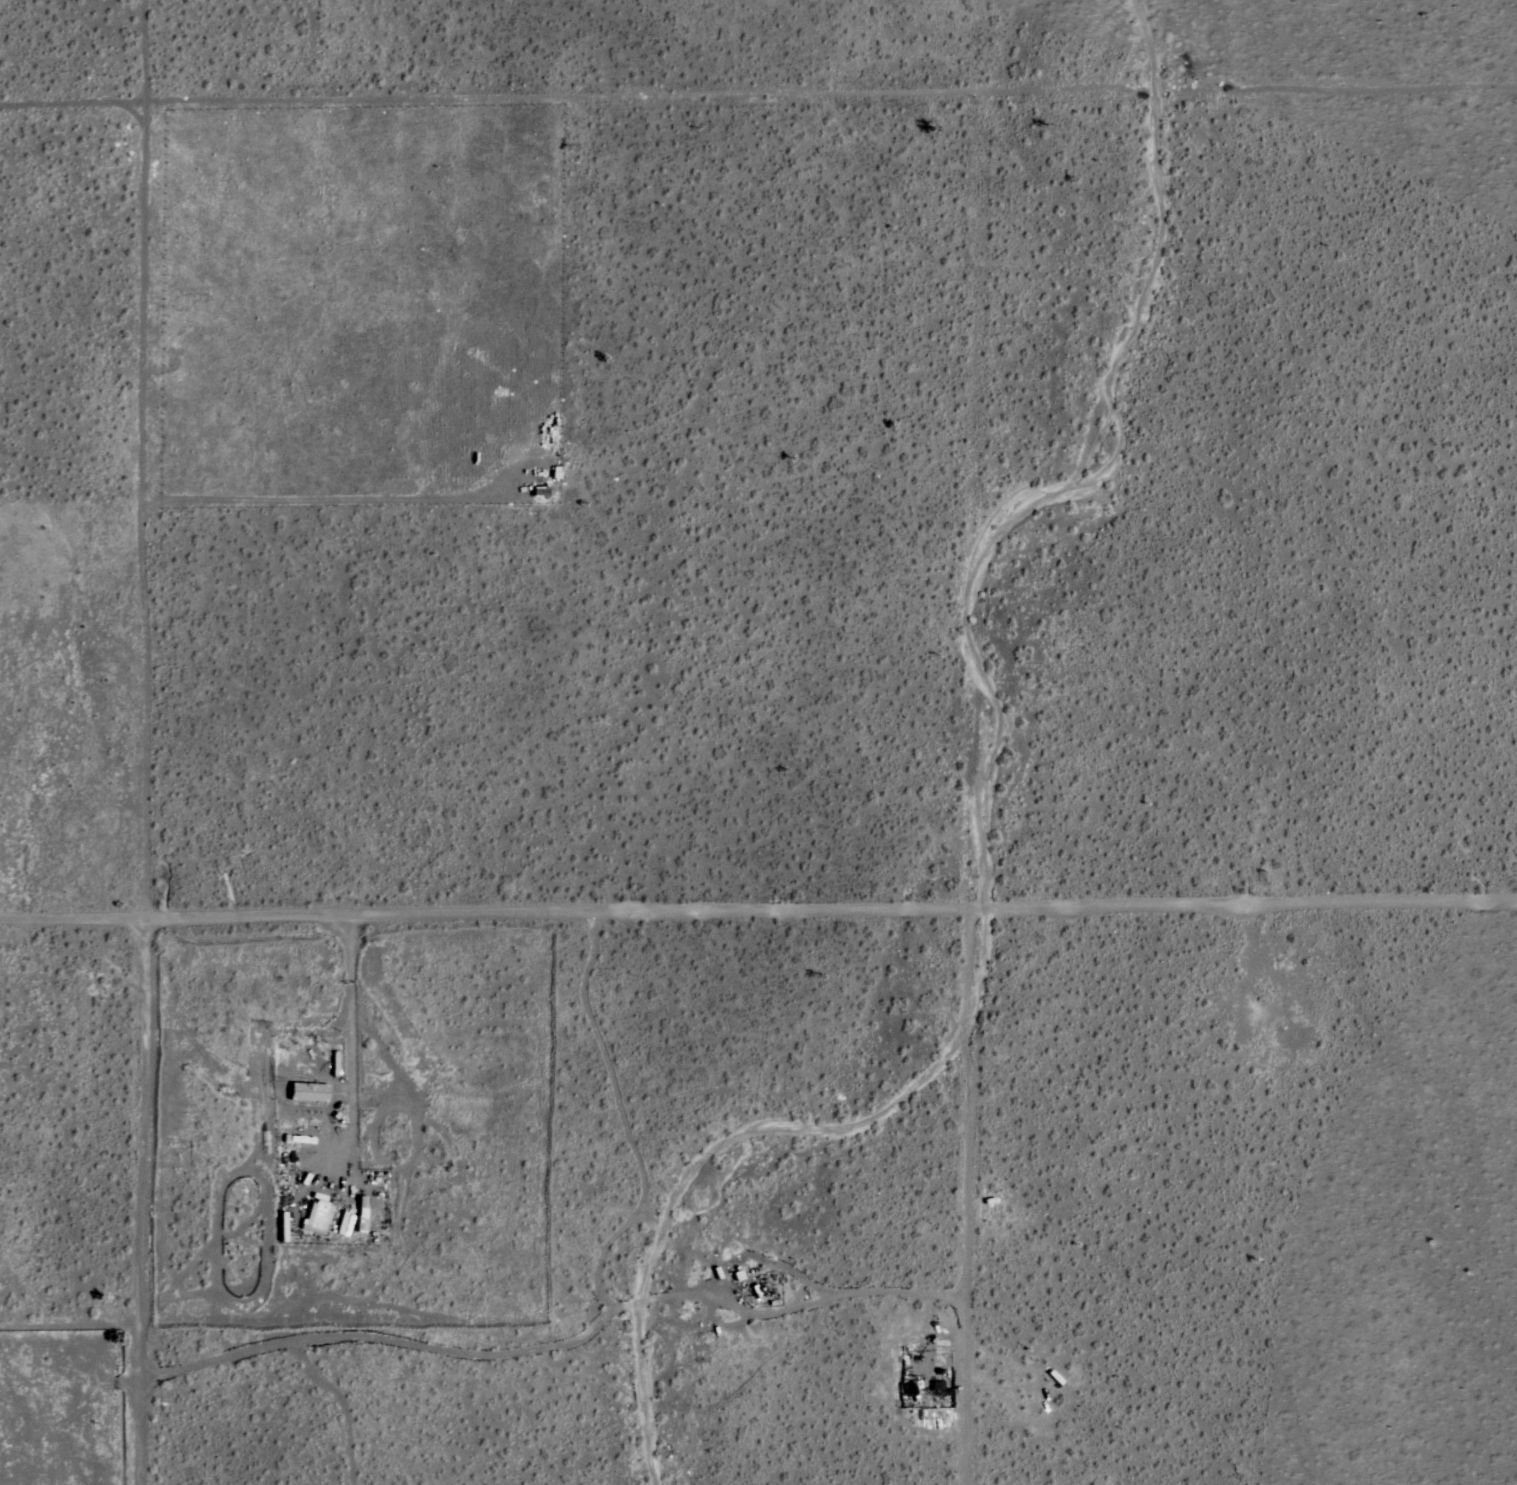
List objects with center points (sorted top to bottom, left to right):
road: (143, 52)
road: (1246, 95)
road: (487, 102)
road: (144, 516)
road: (976, 792)
road: (758, 924)
road: (351, 1053)
building: (307, 1092)
road: (143, 1206)
road: (564, 1341)

